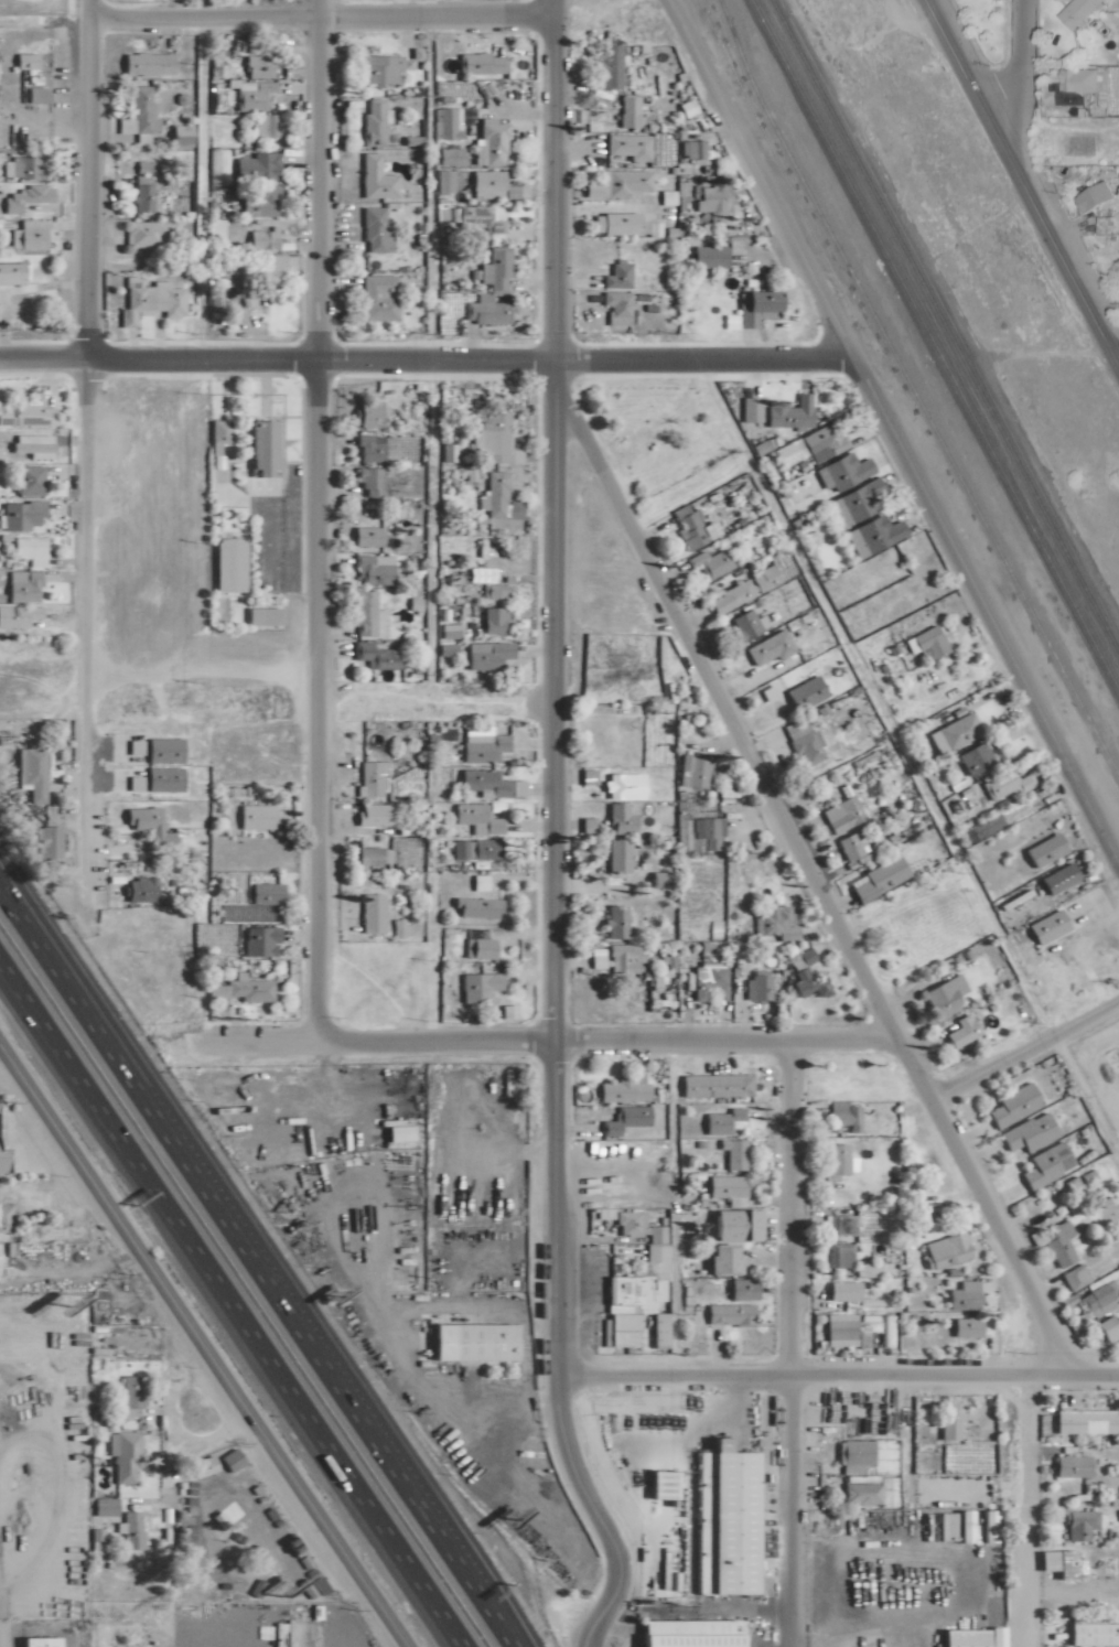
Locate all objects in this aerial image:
building: (1075, 12)
road: (320, 15)
building: (24, 61)
building: (144, 64)
building: (480, 64)
road: (1019, 65)
building: (256, 66)
building: (609, 67)
road: (1034, 71)
building: (1080, 80)
building: (250, 95)
building: (139, 109)
building: (626, 110)
building: (372, 122)
building: (446, 122)
building: (266, 126)
building: (177, 136)
building: (488, 142)
building: (626, 146)
building: (690, 149)
building: (446, 155)
building: (20, 168)
building: (254, 168)
road: (196, 176)
road: (86, 177)
road: (553, 177)
road: (760, 177)
building: (374, 179)
road: (1020, 179)
building: (443, 181)
building: (491, 183)
building: (622, 183)
building: (1097, 194)
building: (25, 198)
building: (258, 203)
building: (709, 203)
building: (477, 219)
building: (1102, 224)
building: (621, 225)
building: (373, 230)
building: (149, 234)
building: (25, 235)
building: (260, 239)
building: (707, 257)
building: (267, 268)
building: (492, 268)
building: (9, 273)
building: (615, 274)
building: (377, 298)
building: (148, 301)
building: (615, 306)
building: (217, 308)
building: (753, 308)
building: (485, 310)
railway: (945, 325)
railway: (935, 345)
road: (43, 356)
road: (319, 356)
road: (702, 356)
road: (1117, 356)
road: (1117, 359)
railway: (913, 390)
building: (749, 409)
building: (23, 412)
building: (788, 412)
building: (368, 413)
building: (217, 430)
building: (492, 441)
building: (821, 441)
building: (31, 444)
building: (260, 446)
building: (366, 449)
building: (840, 471)
building: (26, 480)
building: (369, 481)
building: (491, 495)
building: (853, 502)
building: (19, 515)
road: (314, 518)
building: (690, 526)
road: (431, 527)
building: (871, 534)
building: (364, 536)
building: (28, 549)
building: (708, 562)
building: (225, 566)
building: (372, 568)
building: (21, 585)
building: (742, 589)
building: (493, 590)
building: (783, 601)
road: (986, 611)
building: (366, 614)
building: (17, 615)
building: (260, 615)
road: (86, 618)
building: (491, 618)
building: (743, 625)
building: (446, 631)
building: (924, 642)
building: (766, 647)
building: (444, 649)
building: (485, 654)
building: (375, 656)
road: (201, 660)
building: (803, 692)
road: (872, 697)
building: (950, 732)
building: (804, 743)
building: (481, 746)
building: (161, 750)
building: (971, 757)
building: (29, 769)
building: (690, 771)
building: (369, 776)
building: (161, 778)
building: (482, 783)
building: (1003, 783)
building: (372, 814)
building: (839, 814)
building: (254, 816)
building: (475, 818)
building: (617, 818)
building: (148, 826)
building: (47, 842)
building: (849, 846)
building: (473, 849)
building: (1042, 849)
building: (390, 853)
building: (615, 854)
road: (811, 874)
building: (878, 878)
building: (1055, 878)
building: (658, 879)
building: (137, 890)
building: (263, 893)
building: (708, 898)
building: (474, 906)
building: (369, 913)
building: (710, 916)
building: (614, 922)
building: (773, 922)
building: (396, 927)
building: (257, 940)
building: (475, 947)
building: (622, 957)
building: (803, 976)
building: (704, 980)
building: (755, 984)
building: (476, 986)
building: (239, 989)
building: (942, 995)
road: (551, 1012)
building: (959, 1031)
road: (542, 1040)
road: (1025, 1049)
building: (712, 1085)
building: (620, 1090)
road: (1085, 1099)
building: (1011, 1105)
building: (842, 1118)
building: (876, 1118)
building: (623, 1119)
building: (722, 1121)
building: (1026, 1132)
building: (395, 1133)
building: (731, 1153)
building: (835, 1159)
building: (1, 1161)
building: (1044, 1164)
building: (722, 1185)
building: (927, 1210)
building: (6, 1215)
building: (840, 1224)
building: (732, 1225)
road: (241, 1242)
building: (1056, 1242)
building: (943, 1250)
building: (838, 1255)
building: (719, 1259)
building: (870, 1269)
building: (1073, 1277)
building: (637, 1284)
building: (740, 1289)
building: (840, 1290)
building: (960, 1295)
building: (1097, 1299)
road: (227, 1310)
building: (727, 1314)
building: (964, 1326)
building: (1107, 1327)
building: (838, 1330)
building: (469, 1342)
road: (786, 1343)
road: (202, 1350)
road: (836, 1372)
building: (128, 1399)
building: (1086, 1421)
building: (946, 1429)
building: (121, 1455)
building: (854, 1455)
building: (228, 1460)
building: (927, 1460)
building: (1069, 1465)
building: (200, 1466)
building: (858, 1494)
building: (101, 1506)
road: (1024, 1509)
building: (721, 1521)
building: (1079, 1524)
building: (983, 1527)
building: (128, 1529)
building: (94, 1540)
building: (1055, 1562)
road: (1070, 1595)
road: (498, 1623)
building: (686, 1633)
building: (1091, 1634)
building: (960, 1637)
building: (35, 1641)
road: (588, 1646)

